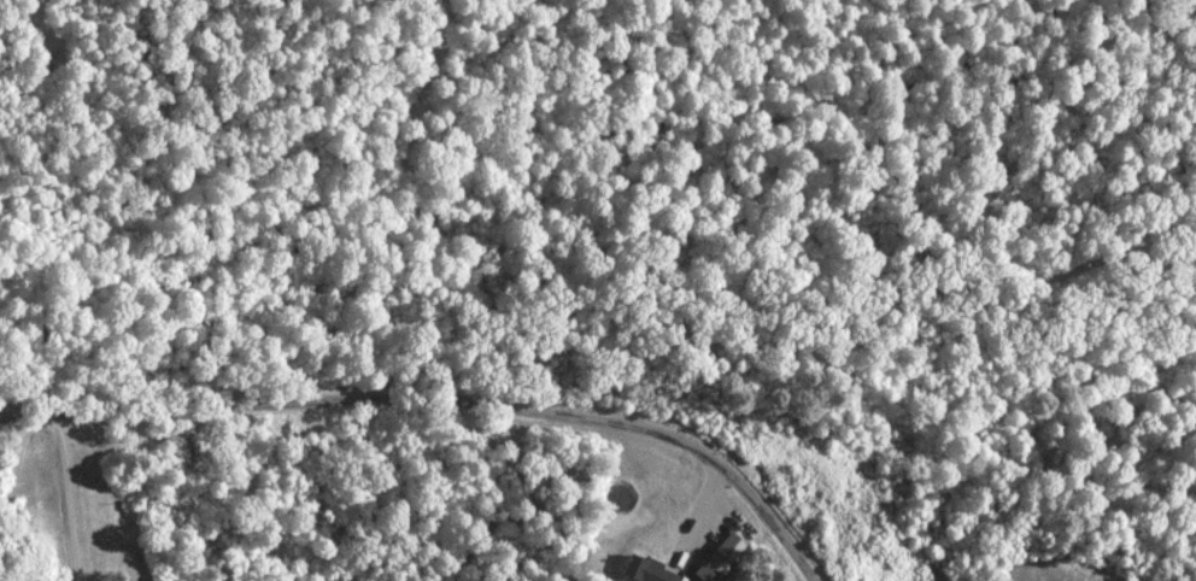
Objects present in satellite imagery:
road: (503, 372)
building: (653, 571)

